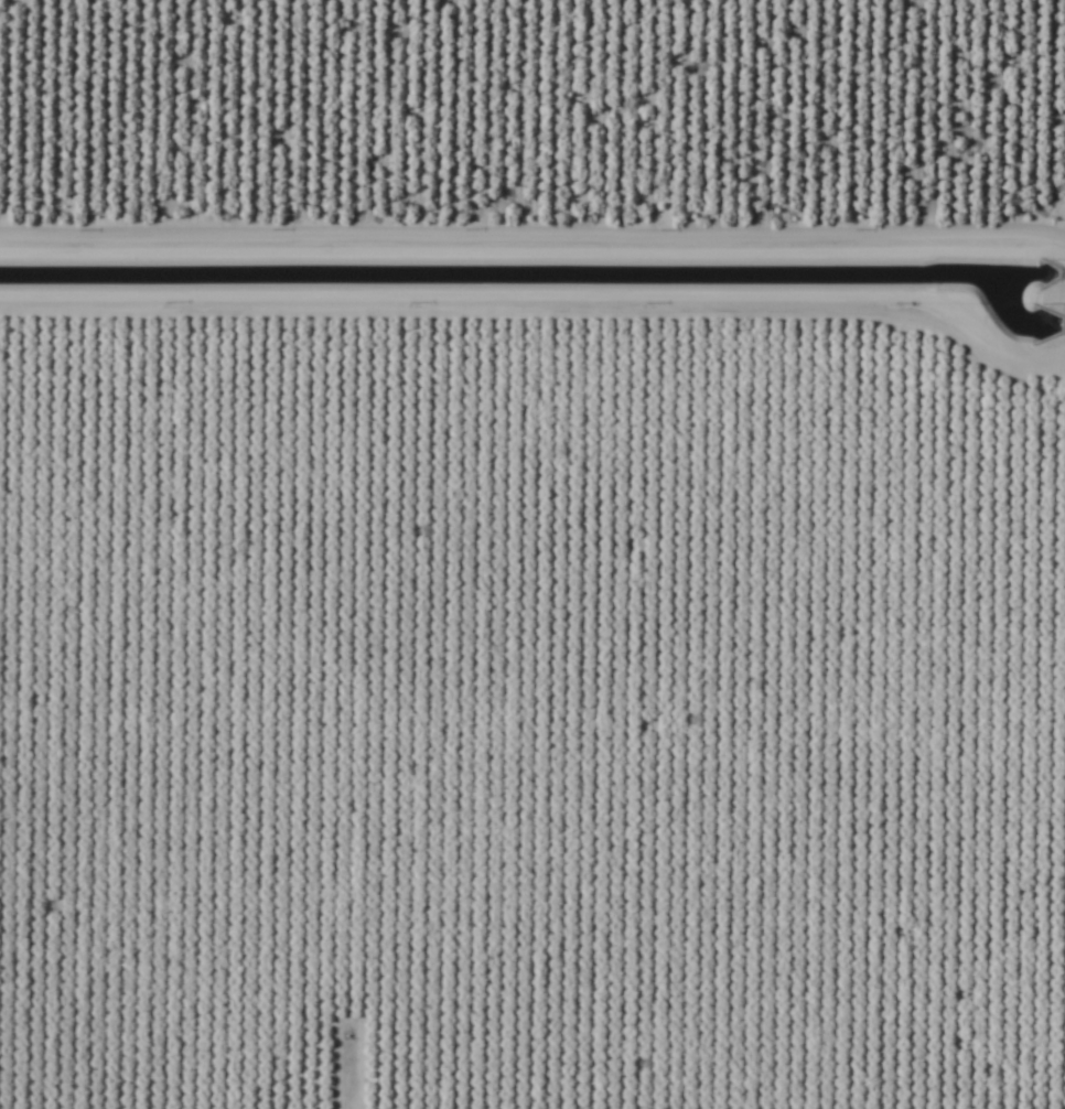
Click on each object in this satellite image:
crop: (532, 554)

